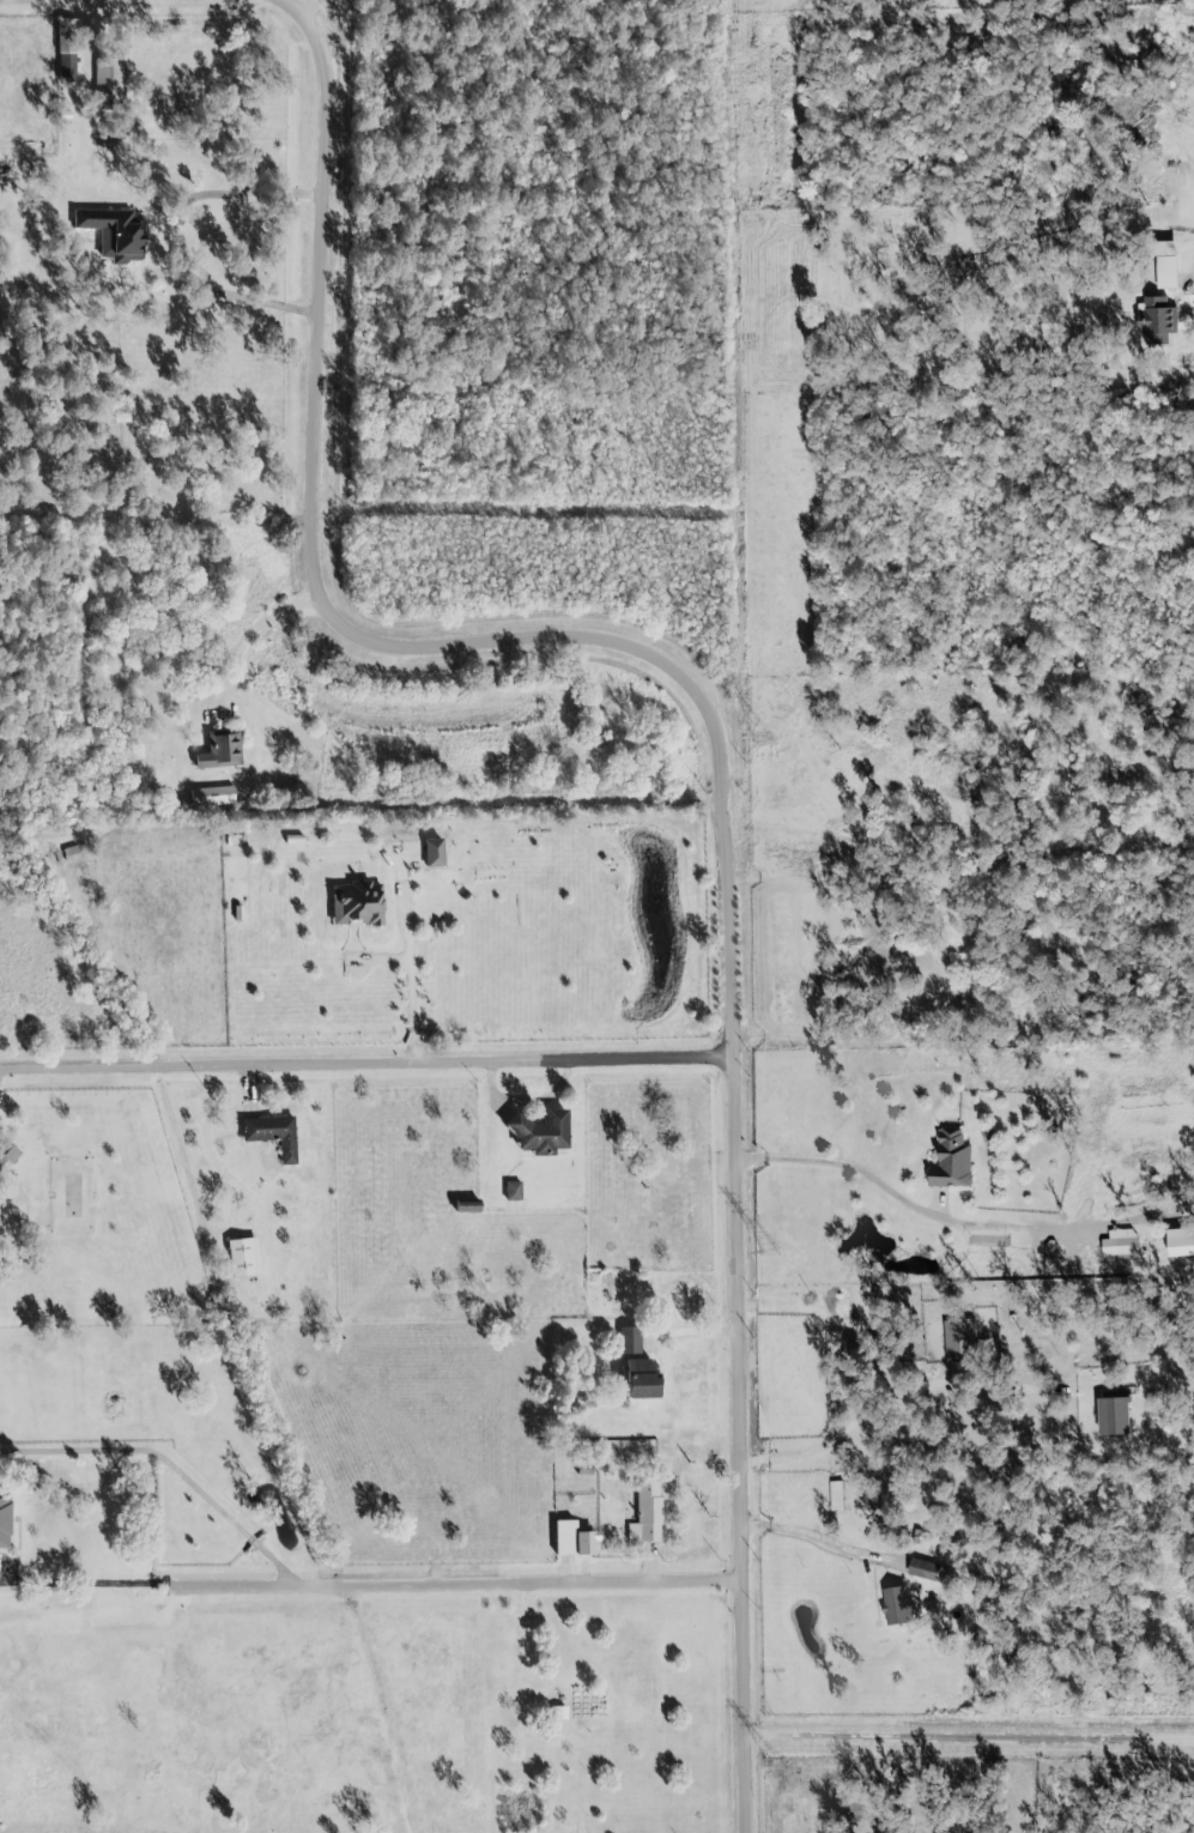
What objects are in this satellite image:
road: (316, 14)
building: (111, 85)
power tower: (757, 220)
building: (114, 231)
road: (152, 241)
building: (1164, 264)
building: (1151, 317)
road: (156, 507)
road: (251, 636)
power tower: (763, 736)
road: (717, 738)
building: (223, 751)
building: (214, 797)
road: (423, 819)
building: (436, 853)
building: (358, 905)
road: (1013, 966)
road: (413, 985)
road: (370, 1059)
road: (526, 1102)
building: (274, 1135)
building: (538, 1135)
building: (954, 1162)
building: (514, 1192)
building: (472, 1209)
road: (959, 1224)
building: (1123, 1244)
building: (1184, 1244)
power tower: (774, 1254)
building: (247, 1258)
building: (963, 1343)
building: (642, 1372)
road: (871, 1405)
building: (1120, 1417)
road: (169, 1463)
building: (838, 1498)
building: (648, 1514)
building: (4, 1519)
building: (577, 1541)
road: (817, 1541)
building: (928, 1572)
road: (461, 1581)
road: (87, 1585)
building: (902, 1608)
building: (563, 1714)
power tower: (776, 1767)

